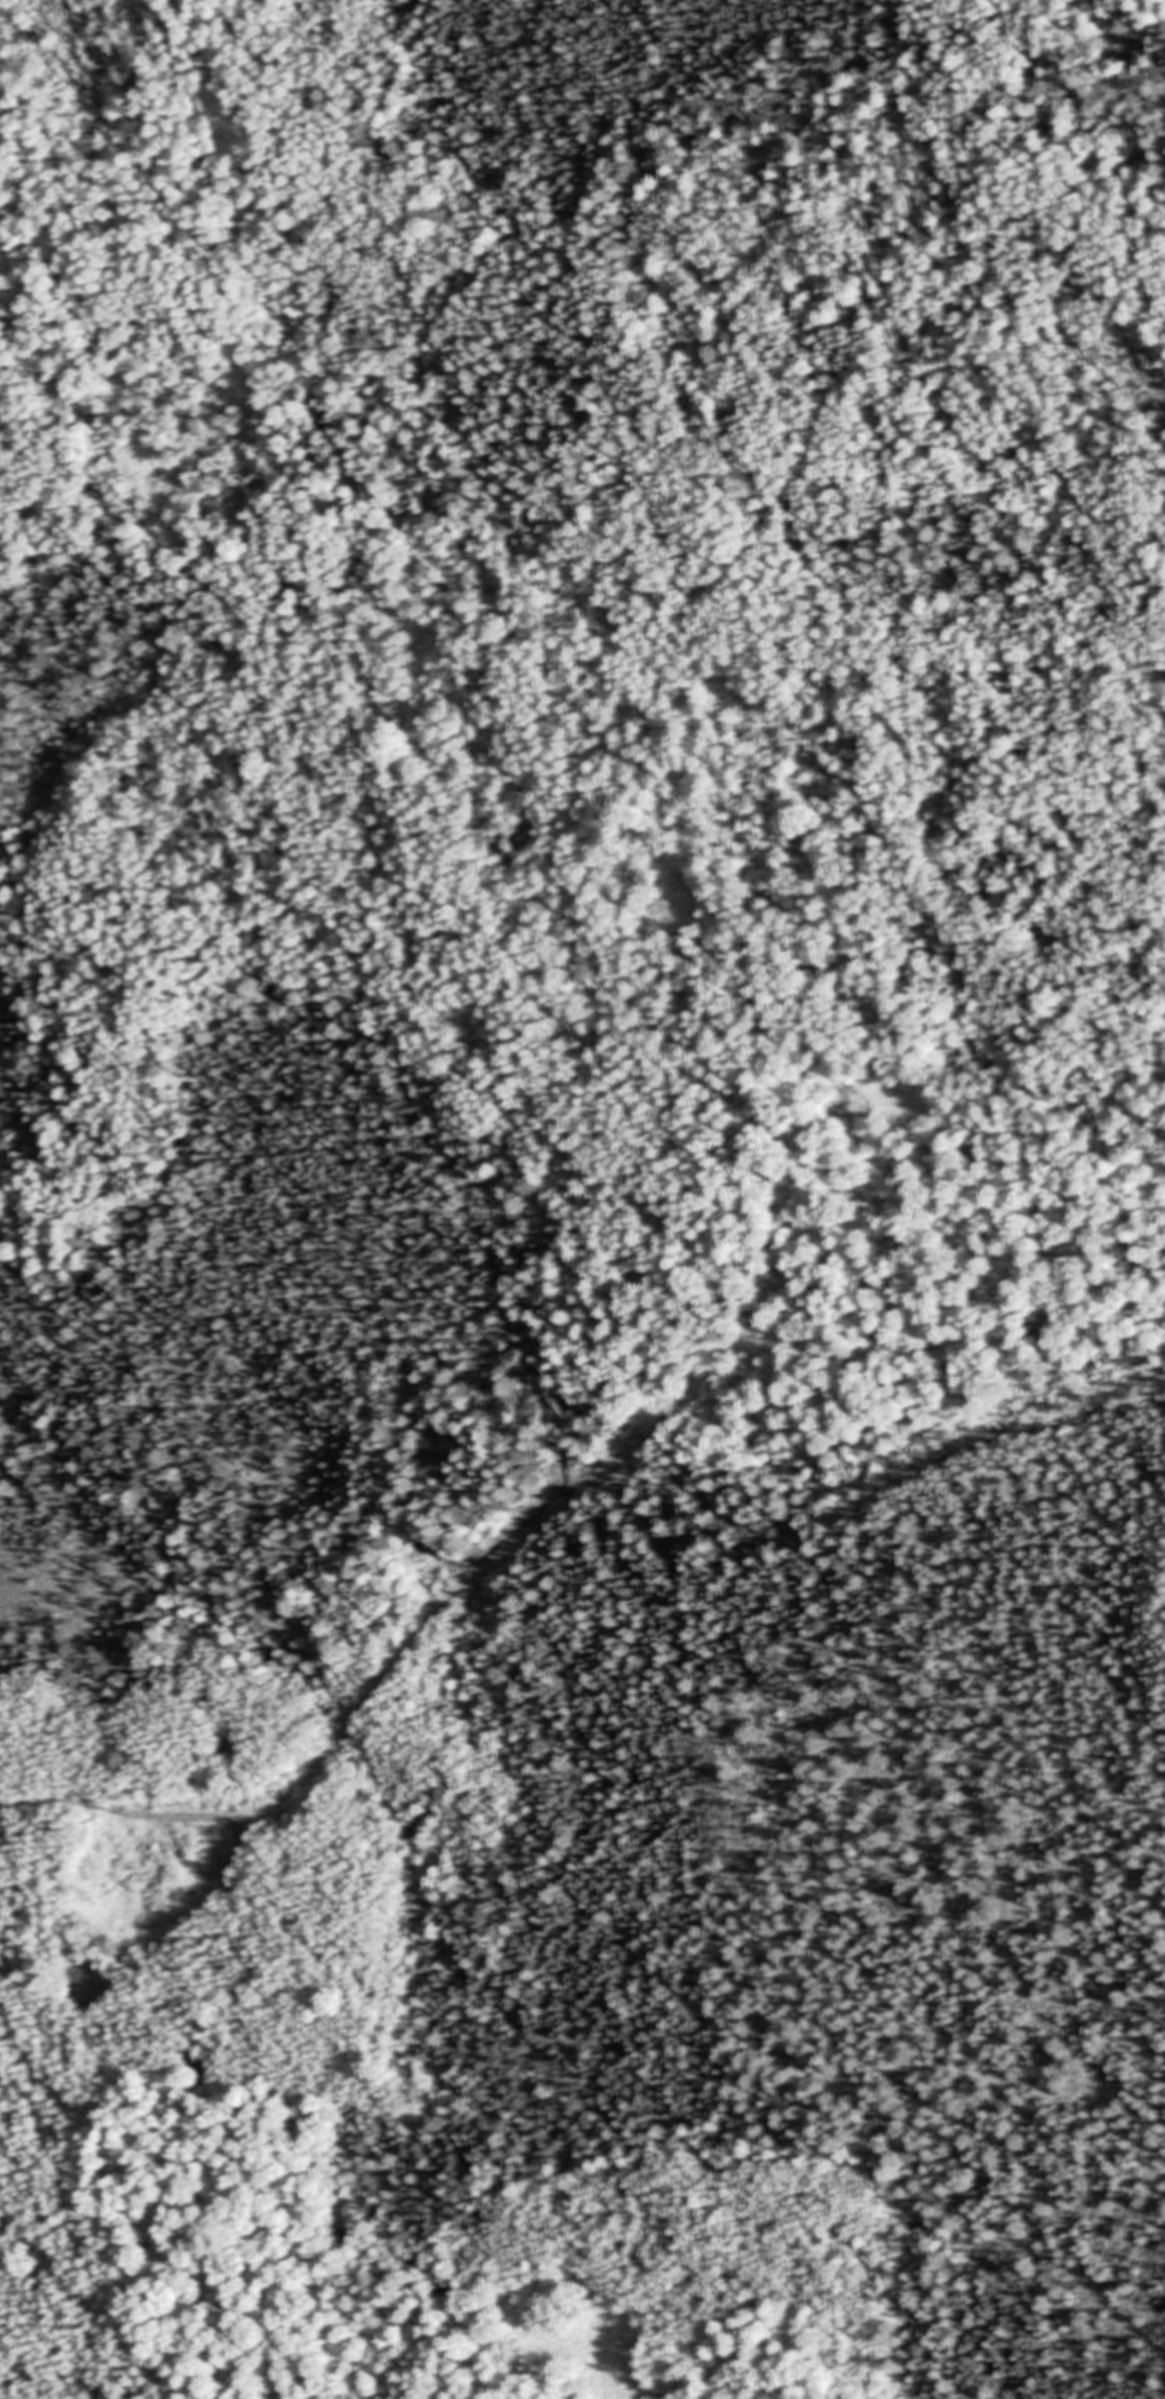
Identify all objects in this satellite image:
road: (357, 1712)

